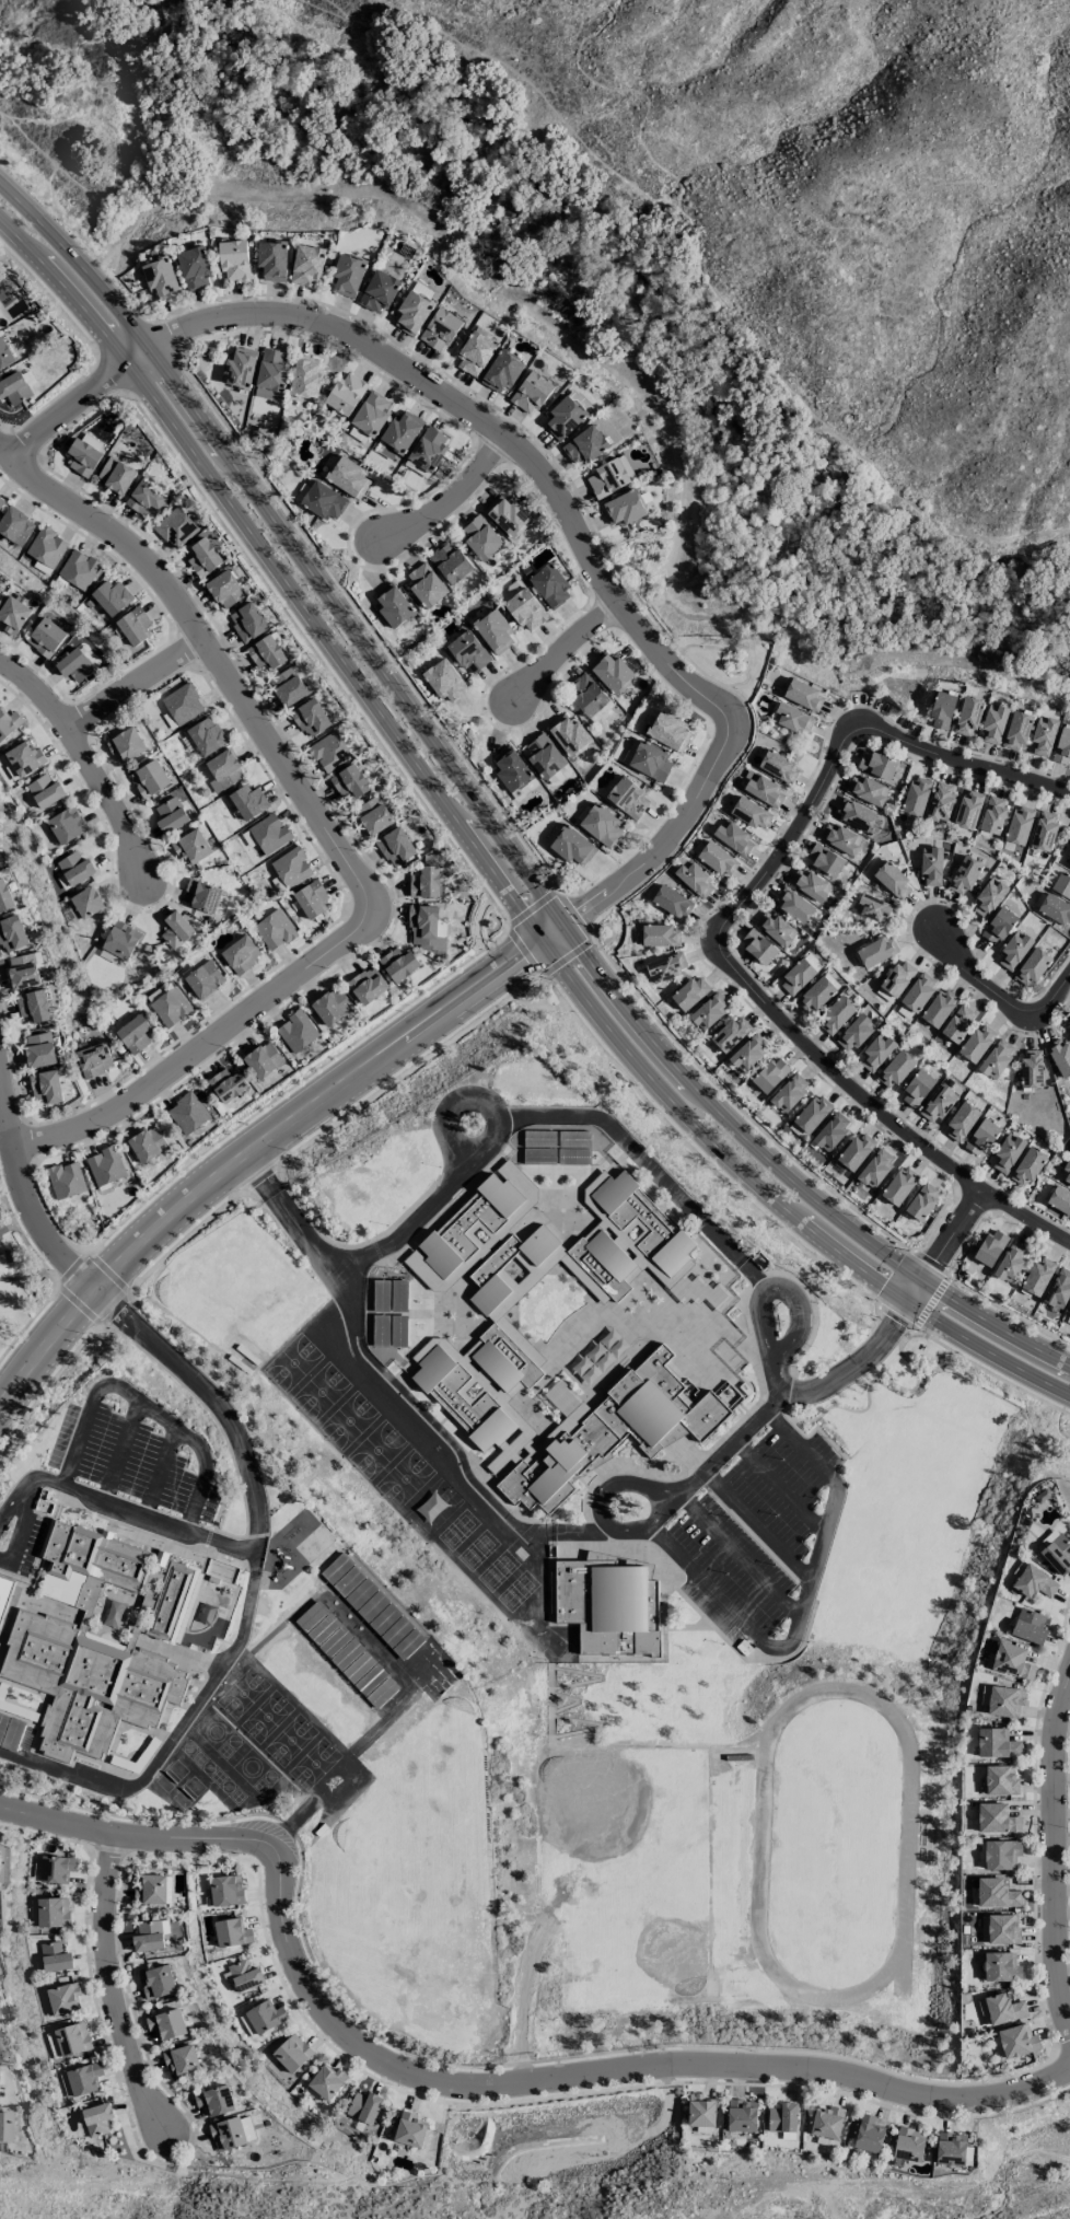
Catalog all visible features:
road: (361, 19)
road: (103, 26)
road: (241, 38)
road: (354, 51)
road: (626, 90)
road: (536, 92)
road: (13, 113)
road: (120, 171)
road: (508, 251)
building: (234, 259)
building: (307, 264)
building: (195, 267)
building: (272, 268)
building: (347, 276)
building: (161, 278)
building: (379, 291)
road: (50, 298)
building: (411, 312)
building: (439, 328)
building: (4, 353)
building: (475, 353)
building: (240, 368)
building: (501, 372)
building: (270, 373)
road: (111, 374)
building: (305, 376)
building: (13, 387)
building: (531, 392)
building: (345, 393)
road: (74, 407)
building: (371, 413)
building: (563, 417)
building: (400, 430)
road: (835, 435)
building: (584, 444)
building: (428, 448)
building: (82, 456)
building: (115, 475)
building: (348, 476)
building: (609, 476)
building: (146, 499)
building: (324, 500)
road: (452, 500)
building: (1, 501)
building: (624, 508)
building: (507, 514)
building: (14, 525)
building: (175, 526)
road: (574, 530)
building: (480, 537)
building: (46, 546)
building: (202, 556)
building: (449, 561)
building: (78, 569)
building: (424, 584)
building: (550, 585)
building: (0, 586)
building: (224, 589)
building: (111, 596)
building: (392, 604)
building: (525, 608)
building: (13, 614)
building: (247, 621)
building: (133, 625)
building: (495, 631)
building: (46, 636)
road: (565, 648)
building: (468, 651)
building: (266, 652)
road: (317, 660)
park: (728, 660)
building: (75, 664)
building: (610, 671)
building: (444, 679)
road: (136, 683)
building: (289, 684)
building: (803, 695)
building: (589, 697)
building: (182, 704)
building: (942, 709)
building: (967, 716)
building: (310, 718)
building: (792, 718)
building: (993, 722)
building: (10, 725)
building: (670, 731)
building: (1016, 731)
building: (568, 734)
building: (206, 735)
building: (1043, 736)
building: (126, 744)
building: (1062, 746)
building: (328, 752)
building: (24, 757)
road: (85, 757)
building: (545, 758)
building: (650, 760)
road: (965, 764)
building: (875, 765)
building: (778, 766)
building: (511, 769)
building: (222, 770)
building: (150, 778)
building: (349, 781)
building: (867, 790)
building: (45, 791)
building: (765, 791)
building: (915, 795)
building: (628, 798)
building: (247, 801)
building: (940, 801)
building: (967, 809)
building: (751, 813)
building: (856, 814)
building: (992, 814)
building: (171, 815)
building: (373, 815)
road: (488, 823)
building: (66, 825)
building: (601, 825)
building: (1017, 825)
building: (1044, 830)
building: (268, 833)
road: (332, 835)
road: (792, 836)
building: (733, 837)
building: (839, 838)
building: (572, 845)
building: (395, 846)
building: (191, 847)
building: (718, 859)
building: (824, 859)
road: (484, 861)
building: (1068, 861)
building: (931, 865)
building: (291, 867)
building: (73, 869)
building: (964, 875)
building: (695, 879)
building: (892, 880)
building: (424, 882)
building: (810, 884)
building: (1061, 885)
building: (202, 895)
building: (4, 896)
building: (988, 897)
building: (311, 898)
building: (86, 902)
building: (672, 902)
building: (794, 905)
building: (872, 907)
building: (1056, 909)
building: (72, 911)
building: (998, 925)
building: (426, 927)
building: (775, 927)
building: (274, 929)
traffic signals: (561, 930)
building: (178, 932)
building: (11, 933)
building: (660, 936)
building: (117, 942)
traffic signals: (545, 942)
building: (757, 945)
building: (1013, 950)
building: (876, 951)
road: (522, 952)
building: (240, 953)
building: (397, 964)
building: (665, 966)
building: (1032, 966)
building: (22, 971)
building: (799, 974)
building: (203, 979)
building: (895, 979)
building: (367, 985)
building: (818, 991)
building: (918, 991)
building: (689, 992)
road: (999, 996)
building: (33, 1006)
building: (330, 1006)
building: (171, 1007)
building: (938, 1008)
building: (708, 1010)
building: (836, 1014)
building: (957, 1023)
building: (1069, 1026)
building: (296, 1031)
building: (730, 1033)
building: (854, 1033)
building: (133, 1034)
building: (976, 1043)
building: (38, 1049)
building: (747, 1052)
building: (875, 1053)
building: (1059, 1056)
building: (996, 1058)
building: (94, 1059)
building: (263, 1059)
building: (895, 1069)
building: (1031, 1069)
building: (770, 1074)
building: (228, 1083)
building: (45, 1087)
building: (917, 1088)
building: (789, 1092)
building: (938, 1103)
road: (441, 1109)
road: (877, 1111)
building: (187, 1113)
building: (810, 1116)
building: (962, 1119)
building: (830, 1131)
building: (981, 1136)
building: (538, 1138)
building: (572, 1138)
building: (147, 1143)
road: (261, 1147)
road: (8, 1148)
building: (856, 1151)
road: (636, 1152)
building: (1007, 1153)
road: (695, 1154)
building: (538, 1157)
building: (573, 1157)
building: (104, 1165)
building: (1026, 1166)
building: (875, 1167)
building: (1066, 1172)
building: (65, 1180)
building: (898, 1185)
road: (25, 1193)
building: (1059, 1199)
building: (922, 1201)
parking lot: (3, 1218)
building: (656, 1220)
road: (295, 1223)
building: (467, 1223)
road: (411, 1224)
road: (952, 1236)
building: (538, 1244)
building: (990, 1247)
building: (608, 1255)
building: (497, 1260)
building: (1010, 1262)
building: (597, 1269)
road: (752, 1276)
building: (1037, 1277)
road: (15, 1278)
traffic signals: (923, 1282)
park: (19, 1286)
building: (1058, 1288)
road: (777, 1289)
building: (380, 1294)
building: (488, 1294)
building: (399, 1296)
traffic signals: (910, 1301)
building: (1069, 1313)
building: (380, 1331)
building: (398, 1332)
road: (870, 1354)
building: (508, 1355)
road: (972, 1363)
building: (496, 1364)
building: (460, 1401)
road: (142, 1404)
building: (607, 1429)
park: (362, 1436)
road: (741, 1437)
road: (461, 1479)
road: (781, 1486)
road: (831, 1501)
road: (603, 1513)
road: (760, 1522)
road: (256, 1527)
building: (1056, 1552)
road: (740, 1555)
building: (118, 1576)
building: (1034, 1582)
building: (4, 1592)
building: (606, 1602)
road: (724, 1605)
building: (1028, 1626)
building: (1011, 1661)
building: (86, 1682)
building: (1004, 1700)
park: (278, 1729)
road: (178, 1732)
building: (997, 1743)
building: (1000, 1780)
park: (589, 1800)
building: (997, 1819)
road: (58, 1822)
road: (198, 1836)
park: (833, 1844)
road: (1057, 1850)
building: (1001, 1854)
building: (3, 1861)
building: (56, 1868)
building: (151, 1890)
building: (225, 1890)
building: (996, 1893)
building: (51, 1912)
building: (999, 1929)
building: (232, 1932)
building: (148, 1936)
park: (673, 1950)
building: (55, 1955)
building: (1000, 1966)
building: (244, 1975)
building: (156, 1982)
road: (113, 1984)
building: (59, 1999)
building: (1003, 2009)
building: (264, 2015)
building: (166, 2023)
building: (69, 2041)
building: (1016, 2041)
building: (289, 2052)
building: (182, 2061)
road: (604, 2072)
building: (80, 2079)
building: (326, 2081)
building: (214, 2100)
building: (363, 2106)
building: (700, 2111)
building: (741, 2115)
building: (782, 2117)
building: (96, 2118)
building: (826, 2122)
building: (3, 2126)
building: (409, 2129)
building: (232, 2133)
building: (869, 2134)
building: (908, 2144)
building: (950, 2148)

